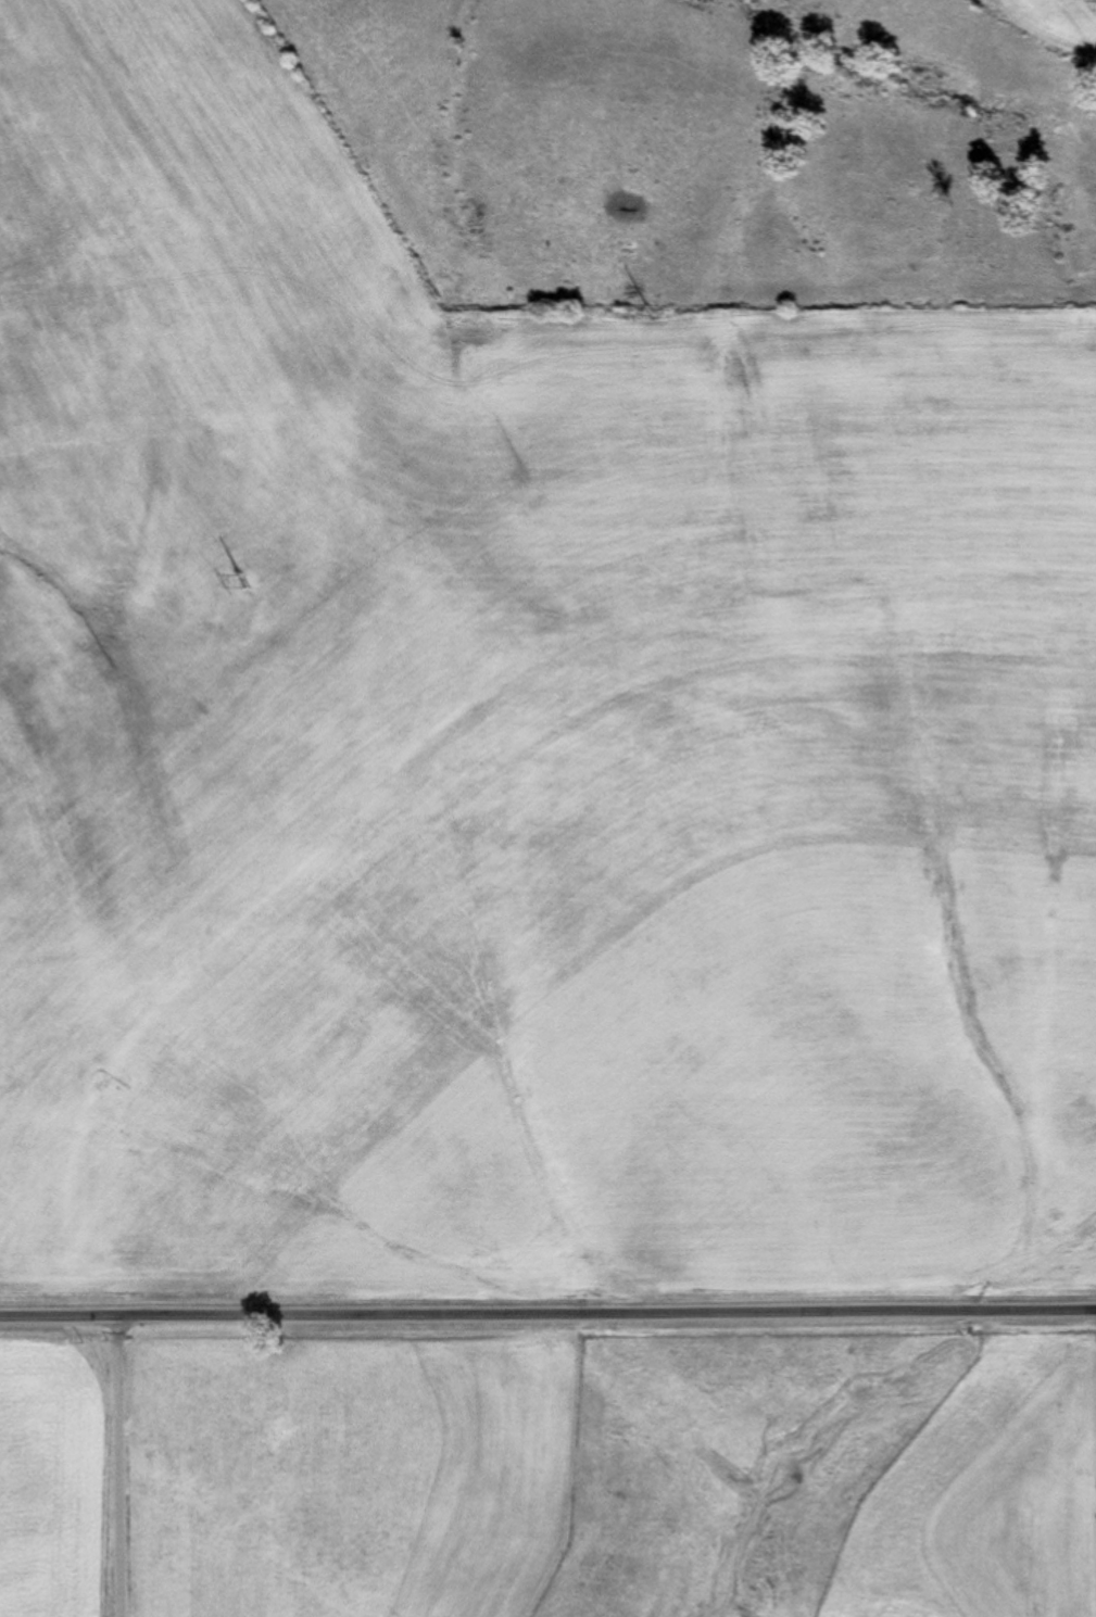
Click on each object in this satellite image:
power tower: (658, 318)
power tower: (251, 589)
road: (547, 1298)
road: (161, 1458)

